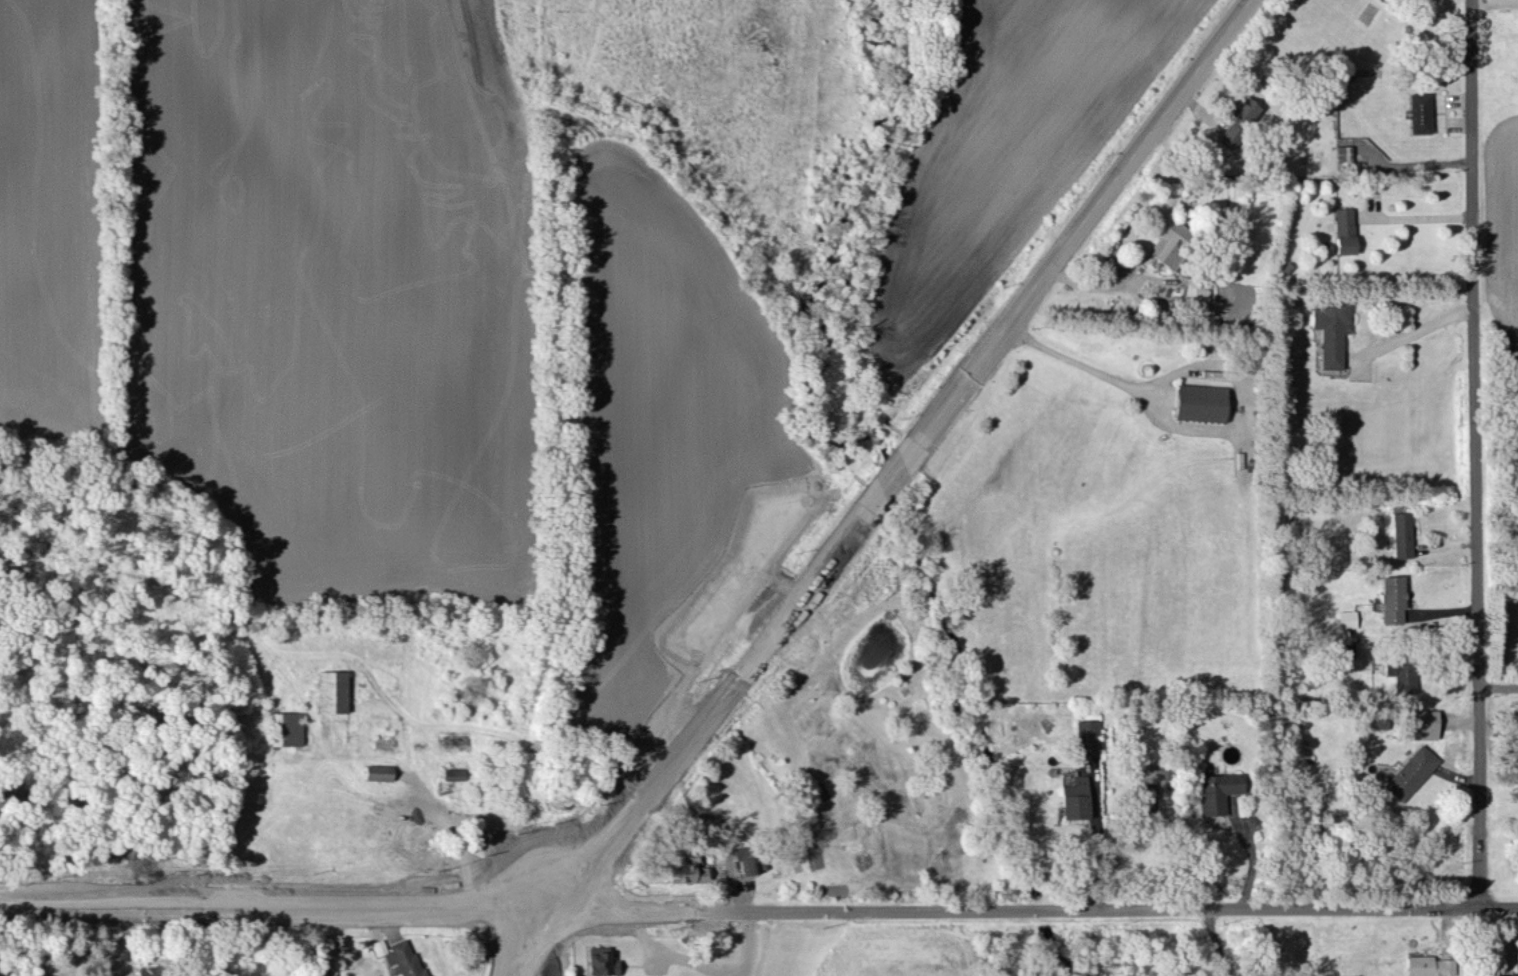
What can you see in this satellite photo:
road: (1504, 0)
building: (1419, 112)
building: (1238, 117)
building: (1343, 153)
road: (1415, 217)
building: (1343, 229)
building: (1168, 242)
building: (1195, 290)
building: (1330, 329)
road: (1412, 331)
road: (958, 385)
building: (1199, 402)
road: (1192, 429)
road: (1475, 453)
building: (1400, 533)
building: (1390, 598)
building: (1345, 618)
building: (1345, 648)
building: (1399, 672)
road: (1498, 690)
building: (331, 691)
building: (1420, 724)
building: (285, 728)
building: (1086, 736)
building: (377, 771)
building: (1409, 771)
building: (1162, 772)
building: (453, 773)
building: (1216, 791)
building: (1146, 796)
building: (1073, 798)
road: (618, 818)
road: (627, 827)
road: (1252, 854)
road: (1097, 857)
building: (746, 858)
road: (519, 863)
building: (686, 872)
road: (372, 900)
road: (608, 900)
road: (118, 910)
road: (1074, 910)
road: (601, 914)
road: (373, 919)
road: (1215, 941)
road: (509, 948)
road: (532, 953)
building: (398, 955)
building: (599, 960)
building: (1427, 965)
road: (705, 967)
building: (147, 970)
building: (325, 973)
building: (39, 975)

